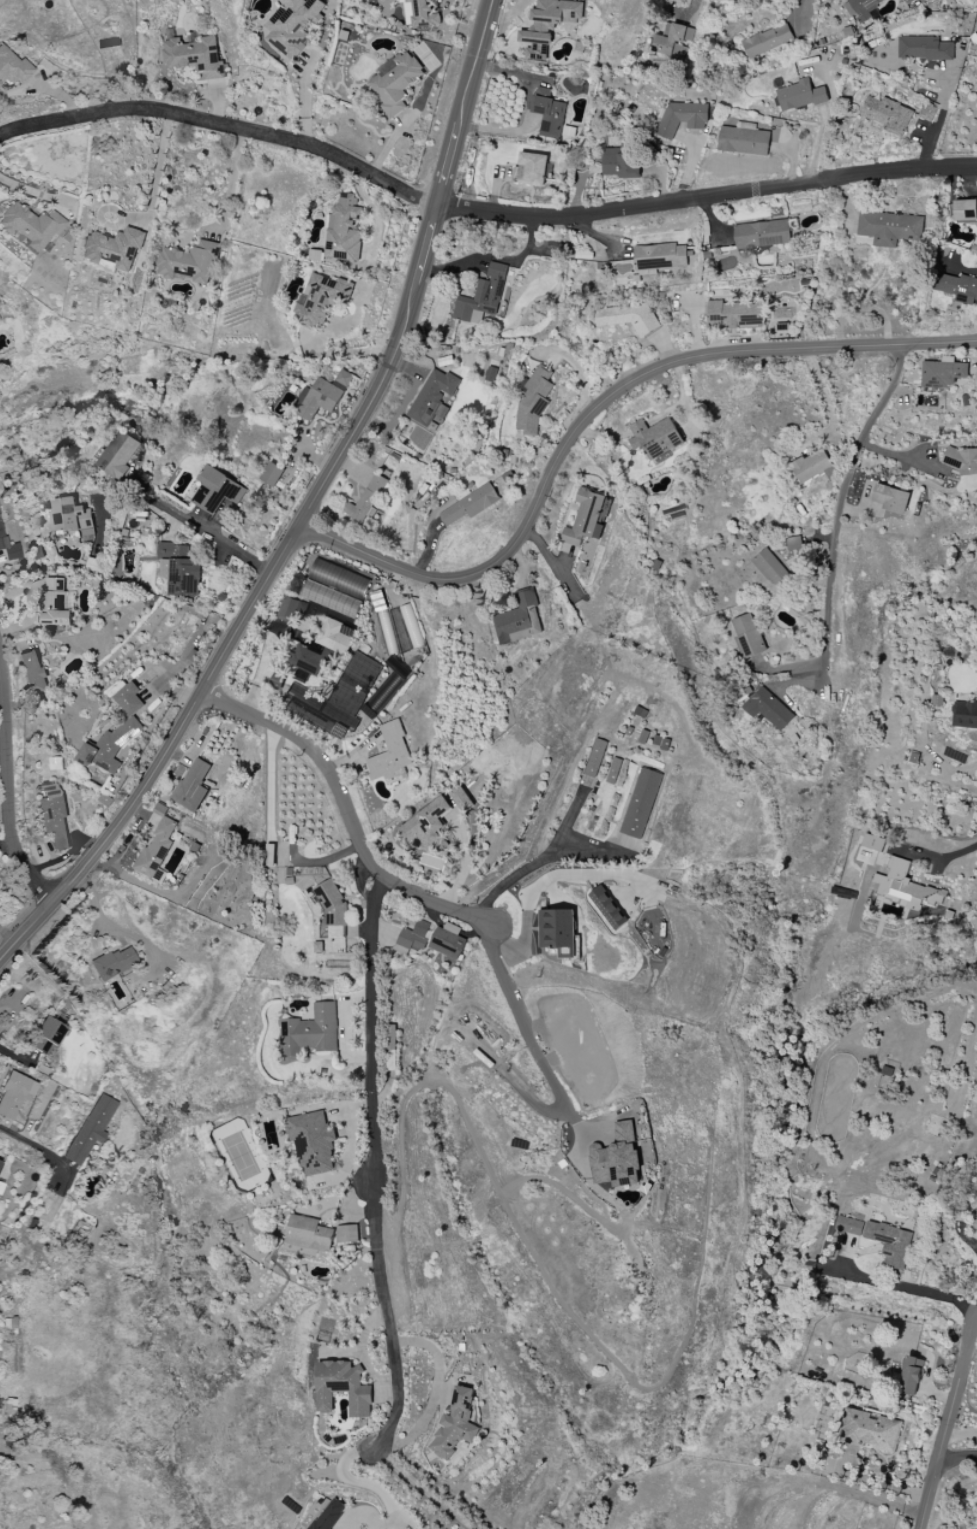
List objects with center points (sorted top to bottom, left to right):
building: (904, 0)
road: (803, 9)
building: (863, 12)
building: (423, 13)
building: (293, 24)
building: (548, 25)
building: (674, 40)
building: (768, 40)
building: (924, 48)
building: (194, 56)
building: (11, 67)
building: (395, 82)
building: (801, 95)
road: (307, 99)
road: (528, 109)
building: (927, 112)
building: (549, 113)
building: (887, 115)
building: (682, 117)
road: (940, 117)
road: (224, 126)
building: (743, 139)
building: (621, 164)
building: (531, 169)
road: (158, 175)
road: (233, 181)
road: (37, 193)
road: (706, 198)
building: (965, 210)
building: (31, 226)
building: (889, 228)
building: (343, 230)
building: (762, 234)
building: (112, 250)
building: (659, 258)
road: (493, 259)
building: (188, 262)
building: (957, 287)
building: (482, 296)
building: (320, 299)
building: (732, 313)
building: (629, 317)
building: (943, 373)
building: (323, 395)
road: (825, 396)
building: (534, 400)
road: (595, 409)
building: (655, 437)
building: (118, 455)
road: (903, 460)
building: (962, 461)
building: (812, 465)
building: (272, 474)
building: (217, 490)
building: (891, 498)
building: (368, 499)
building: (470, 505)
road: (839, 506)
road: (308, 509)
building: (71, 517)
building: (585, 518)
road: (203, 529)
building: (794, 543)
building: (9, 548)
building: (36, 552)
building: (771, 568)
building: (179, 569)
building: (335, 578)
building: (322, 597)
building: (287, 609)
building: (519, 619)
building: (335, 636)
building: (748, 636)
building: (307, 658)
building: (32, 672)
building: (385, 691)
building: (129, 699)
building: (769, 709)
building: (318, 711)
building: (964, 715)
building: (110, 746)
building: (391, 755)
building: (595, 758)
building: (613, 771)
road: (10, 780)
building: (193, 785)
building: (460, 797)
building: (640, 803)
road: (349, 810)
building: (53, 814)
building: (427, 825)
road: (589, 841)
building: (873, 842)
building: (157, 844)
road: (538, 861)
road: (939, 861)
building: (906, 886)
building: (606, 908)
building: (558, 931)
building: (414, 936)
building: (448, 943)
building: (113, 963)
building: (311, 1031)
road: (538, 1033)
building: (47, 1037)
building: (15, 1094)
building: (90, 1129)
road: (30, 1144)
building: (313, 1144)
building: (617, 1158)
building: (0, 1163)
road: (376, 1164)
building: (0, 1186)
building: (974, 1220)
building: (850, 1226)
building: (309, 1233)
building: (348, 1233)
building: (890, 1244)
road: (910, 1284)
building: (910, 1375)
building: (342, 1387)
road: (434, 1391)
road: (946, 1423)
building: (456, 1424)
building: (870, 1430)
road: (959, 1434)
road: (957, 1458)
road: (877, 1482)
road: (363, 1483)
road: (422, 1490)
road: (361, 1514)
building: (329, 1515)

